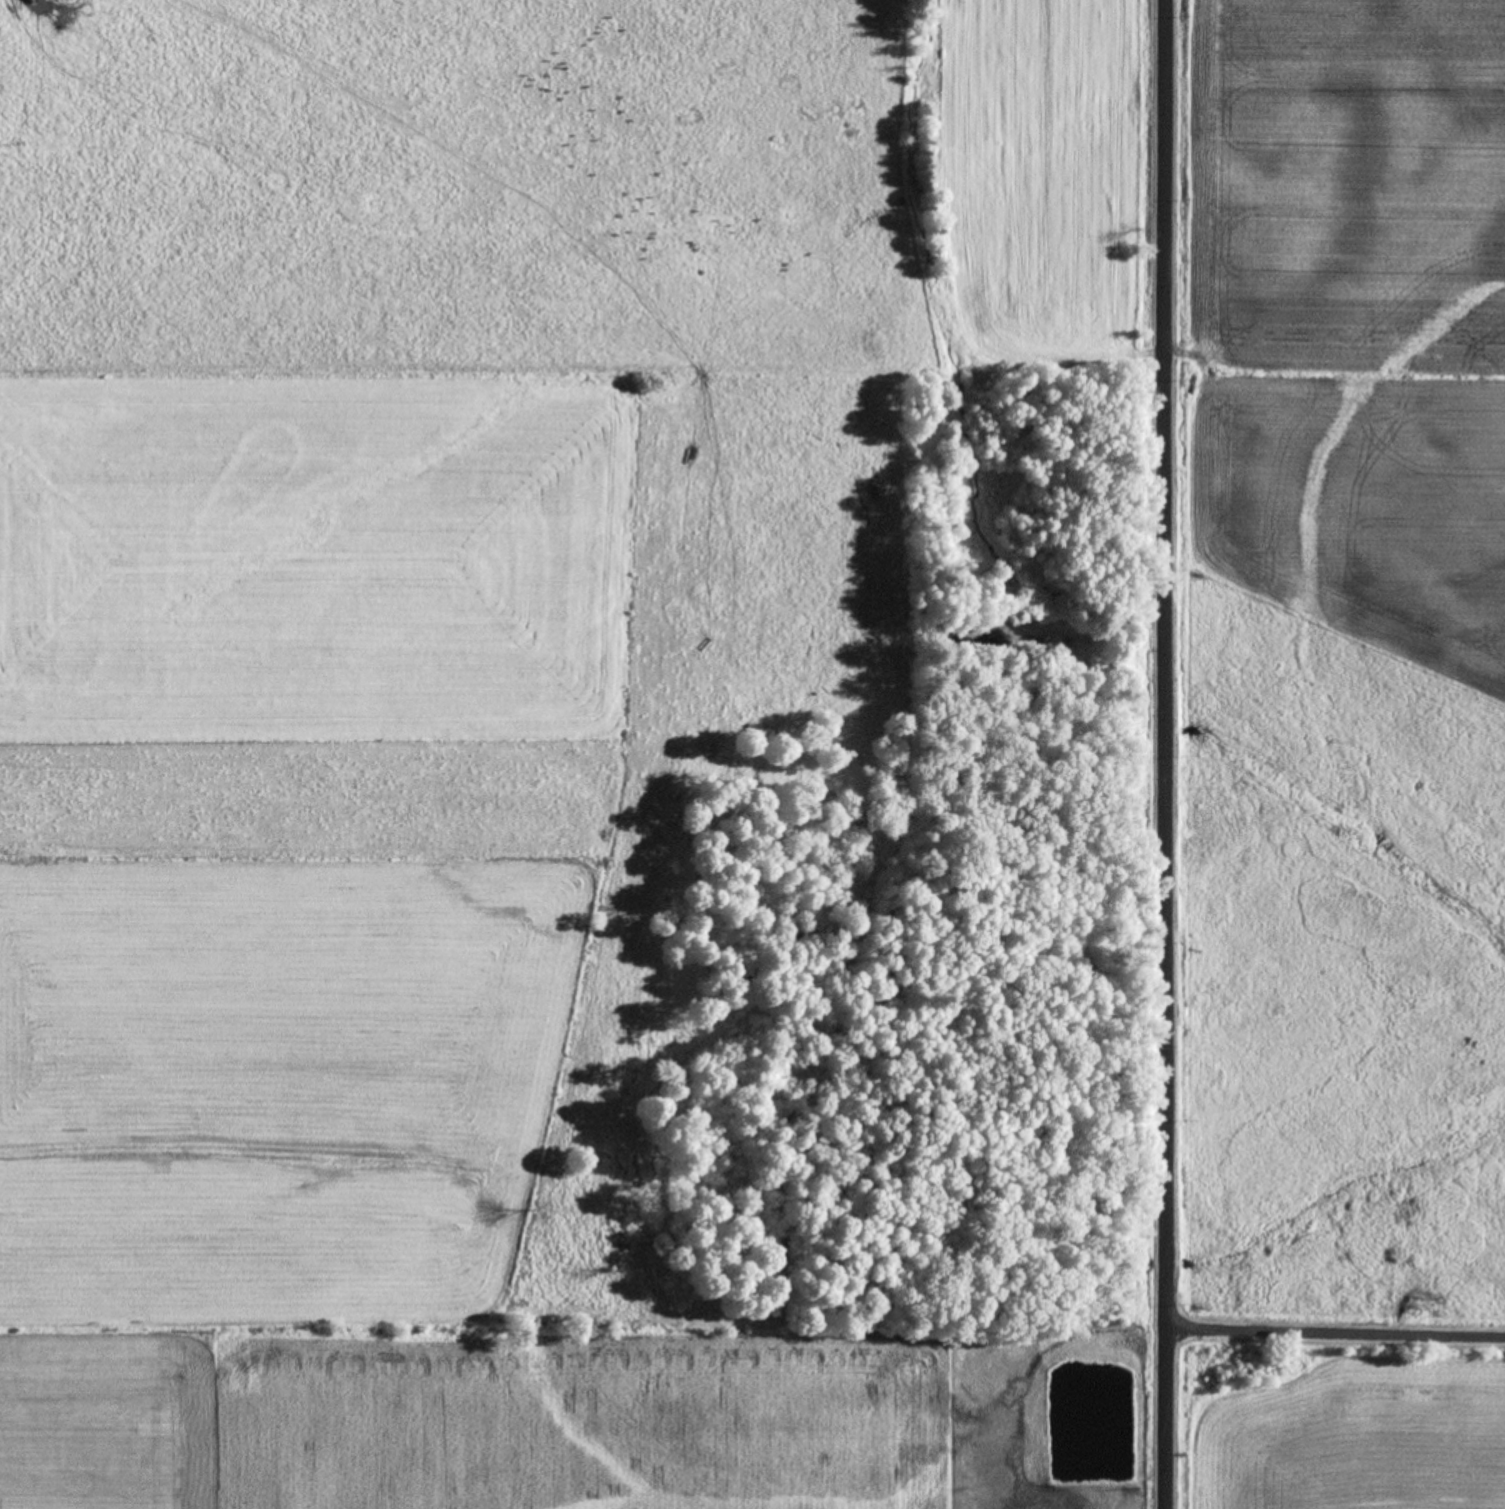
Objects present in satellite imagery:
road: (1164, 754)
road: (1335, 1335)

